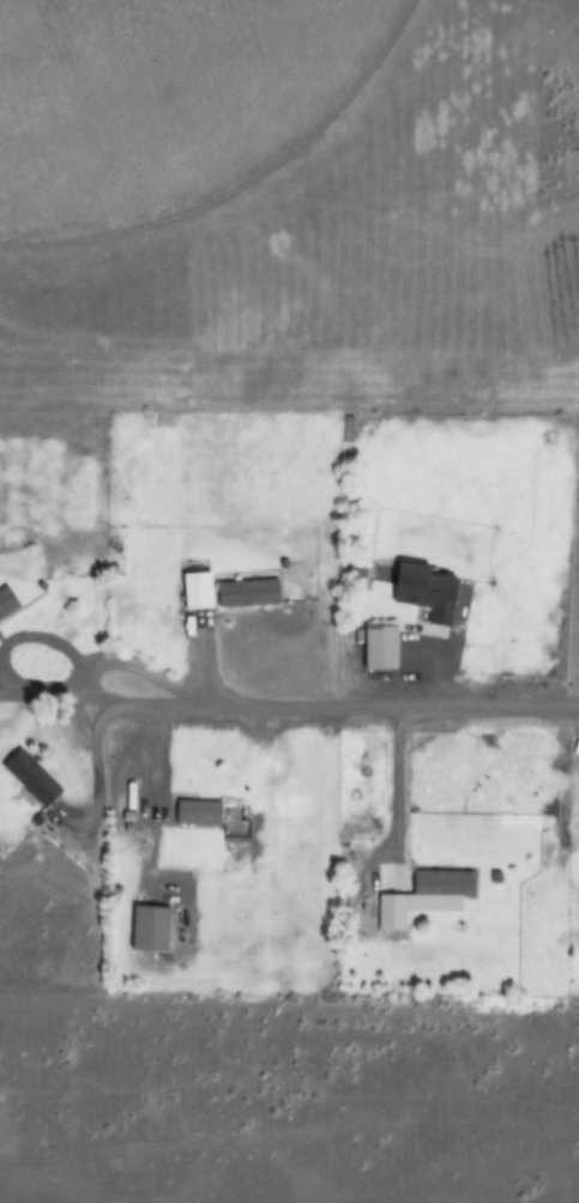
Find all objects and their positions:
building: (345, 428)
building: (427, 591)
building: (246, 592)
building: (7, 603)
building: (380, 647)
building: (31, 779)
building: (197, 814)
building: (444, 883)
building: (390, 913)
building: (150, 930)

